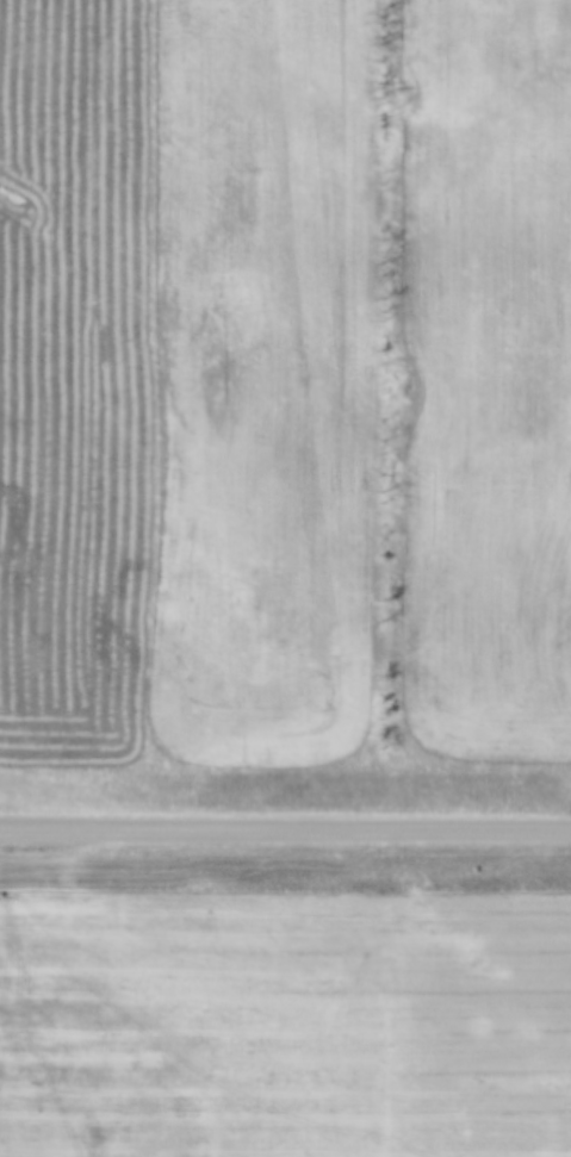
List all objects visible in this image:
road: (285, 828)

